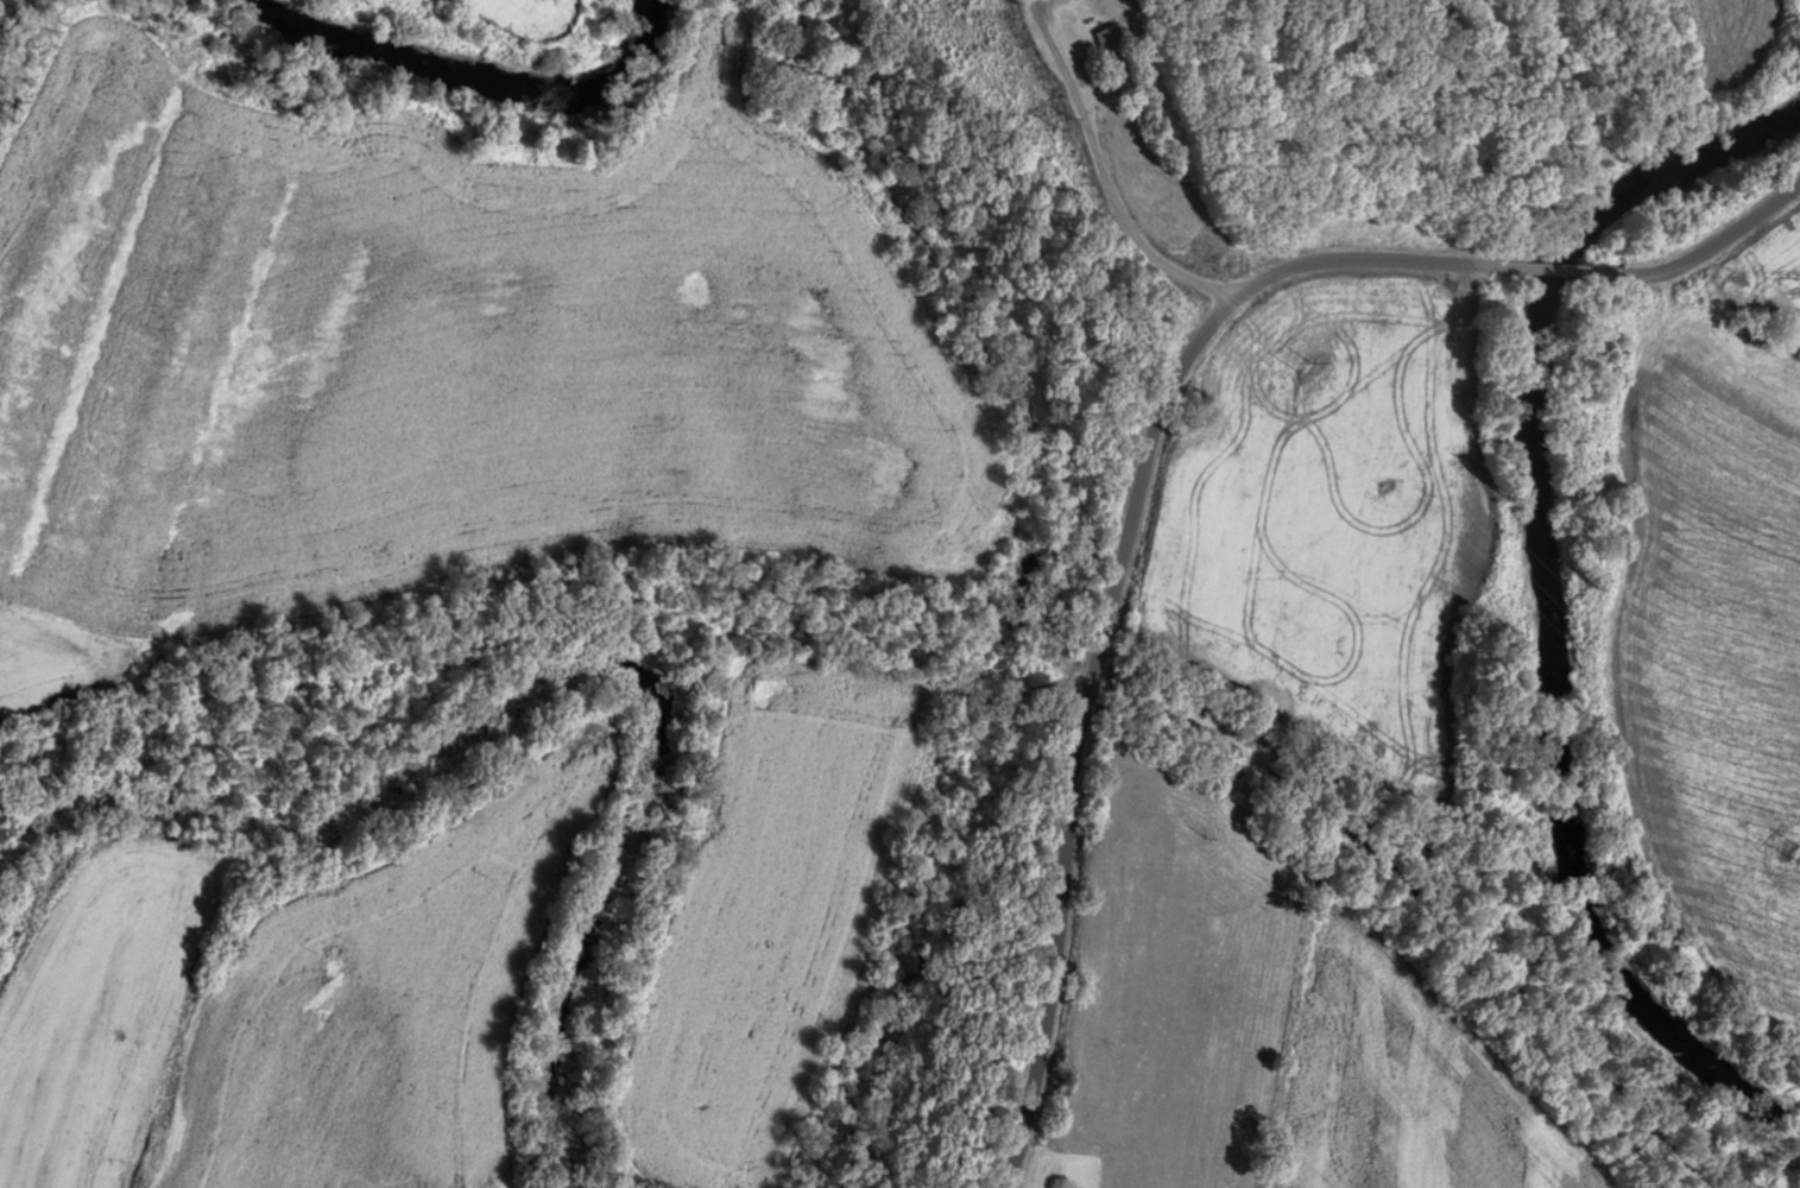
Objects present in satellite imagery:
building: (1111, 42)
power tower: (1061, 124)
road: (1105, 172)
road: (1713, 240)
road: (1547, 266)
power tower: (1309, 367)
road: (1110, 606)
power tower: (1790, 846)

